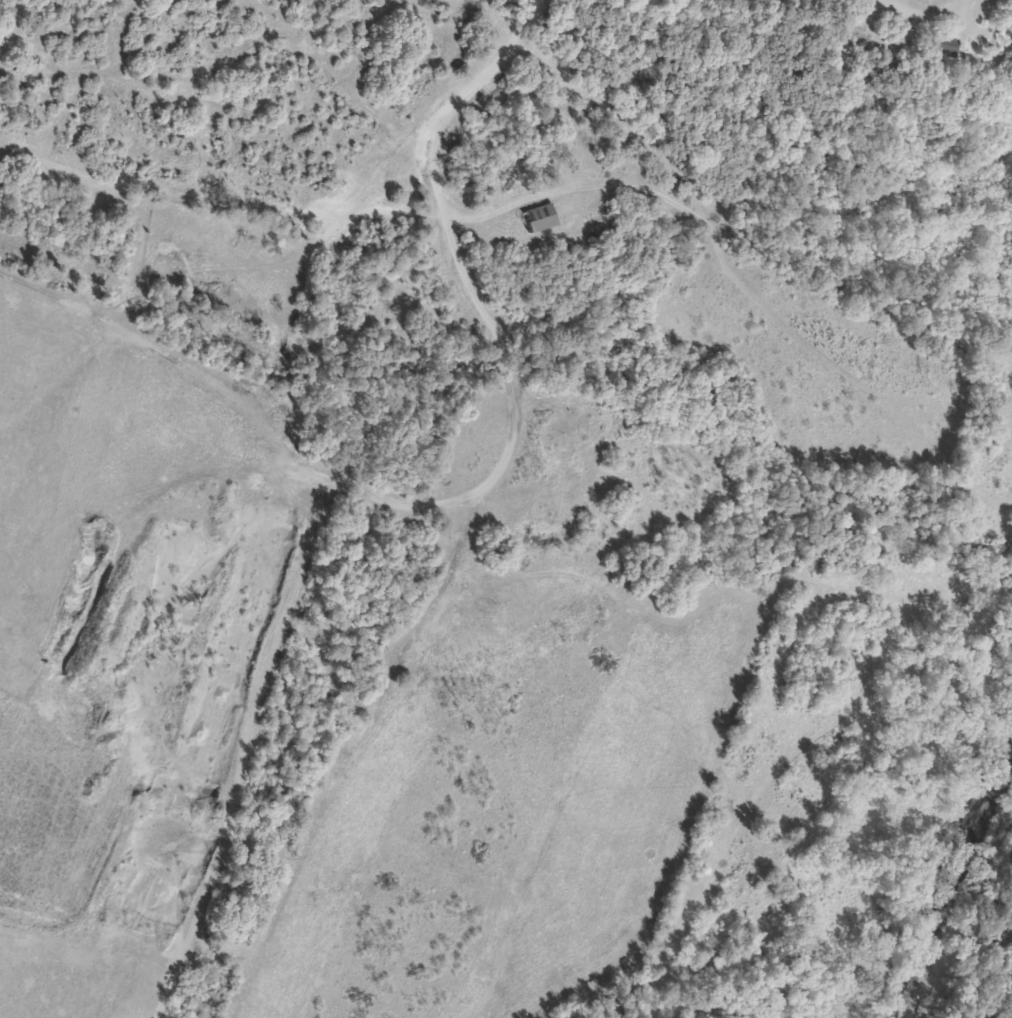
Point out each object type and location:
building: (942, 44)
building: (544, 217)

